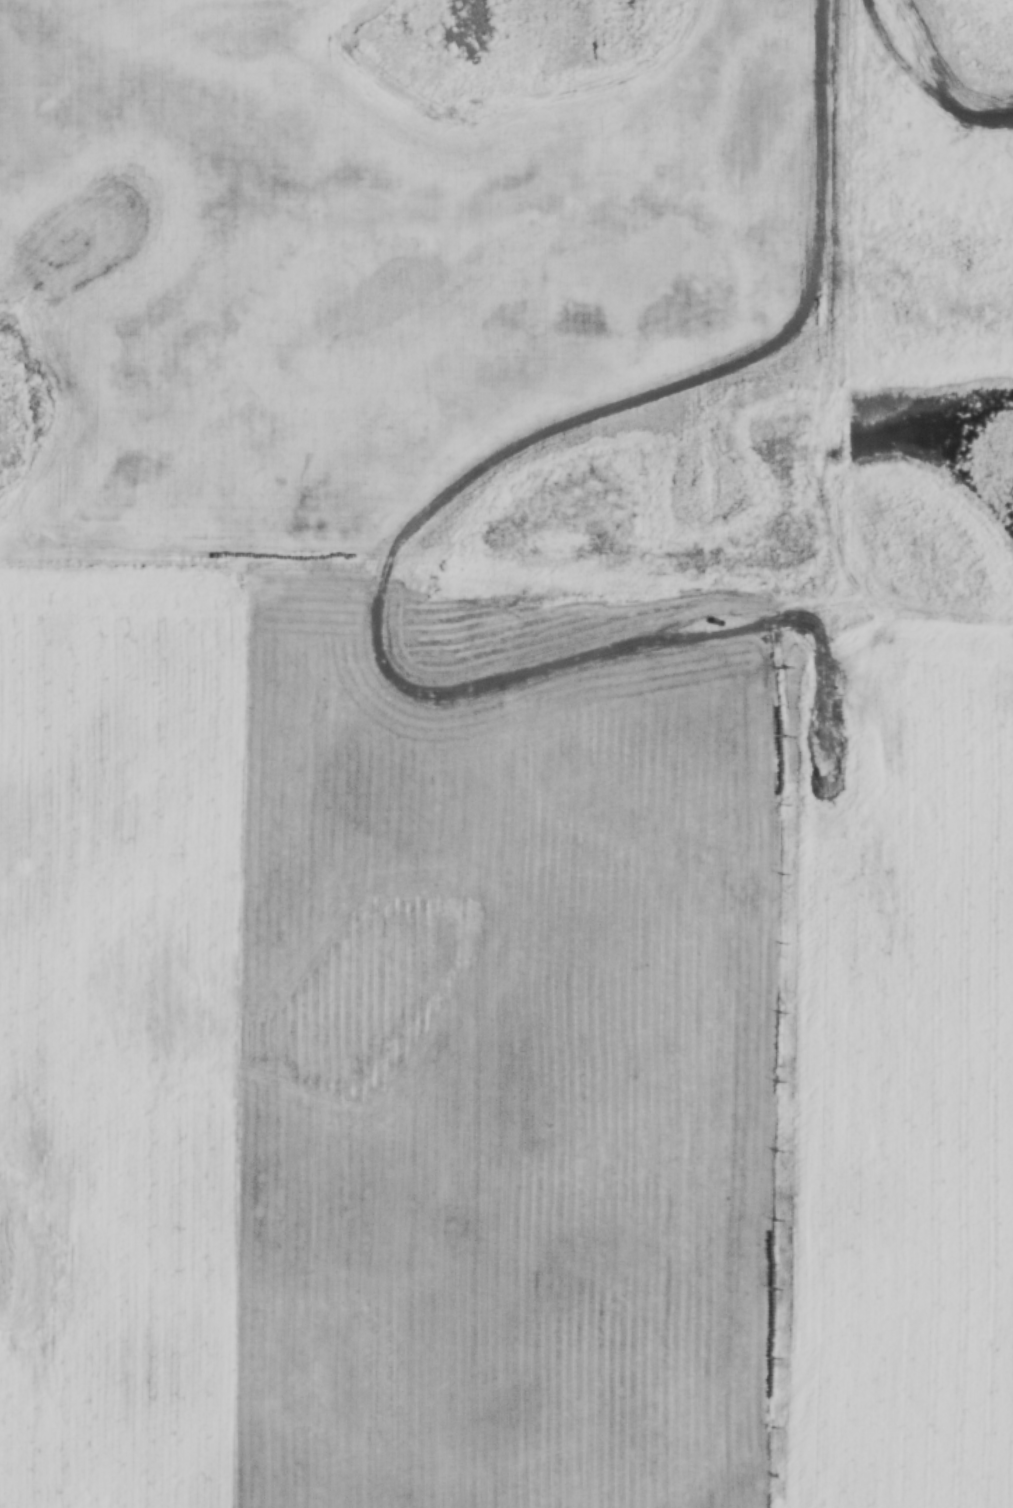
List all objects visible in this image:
road: (827, 329)

